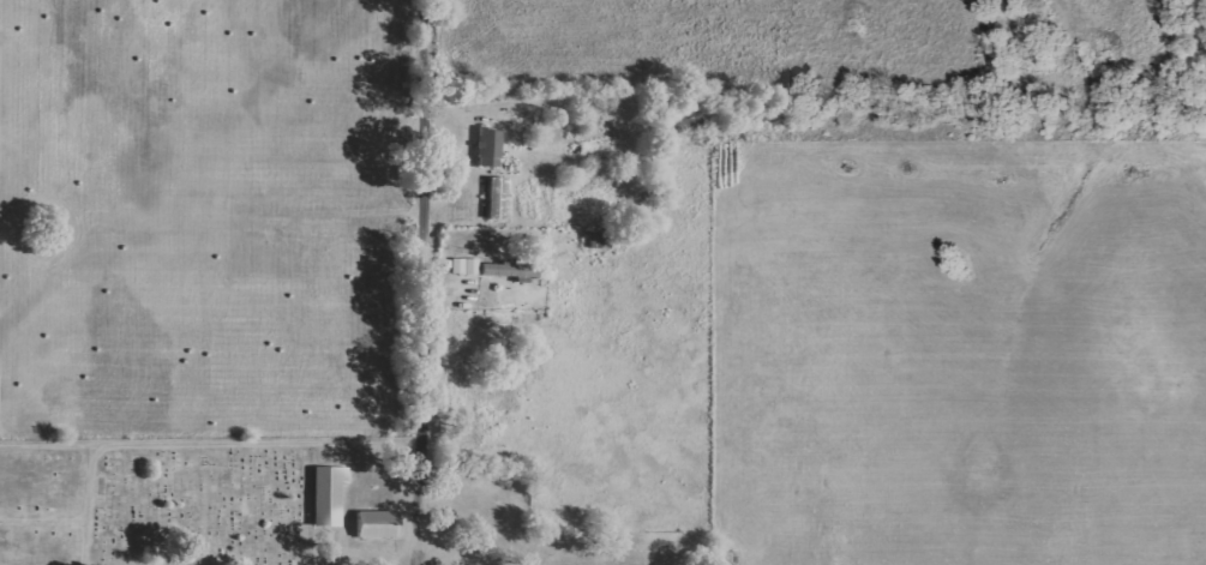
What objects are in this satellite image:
building: (491, 148)
building: (499, 198)
building: (467, 266)
building: (512, 270)
road: (430, 282)
building: (330, 495)
park: (157, 500)
building: (379, 524)

